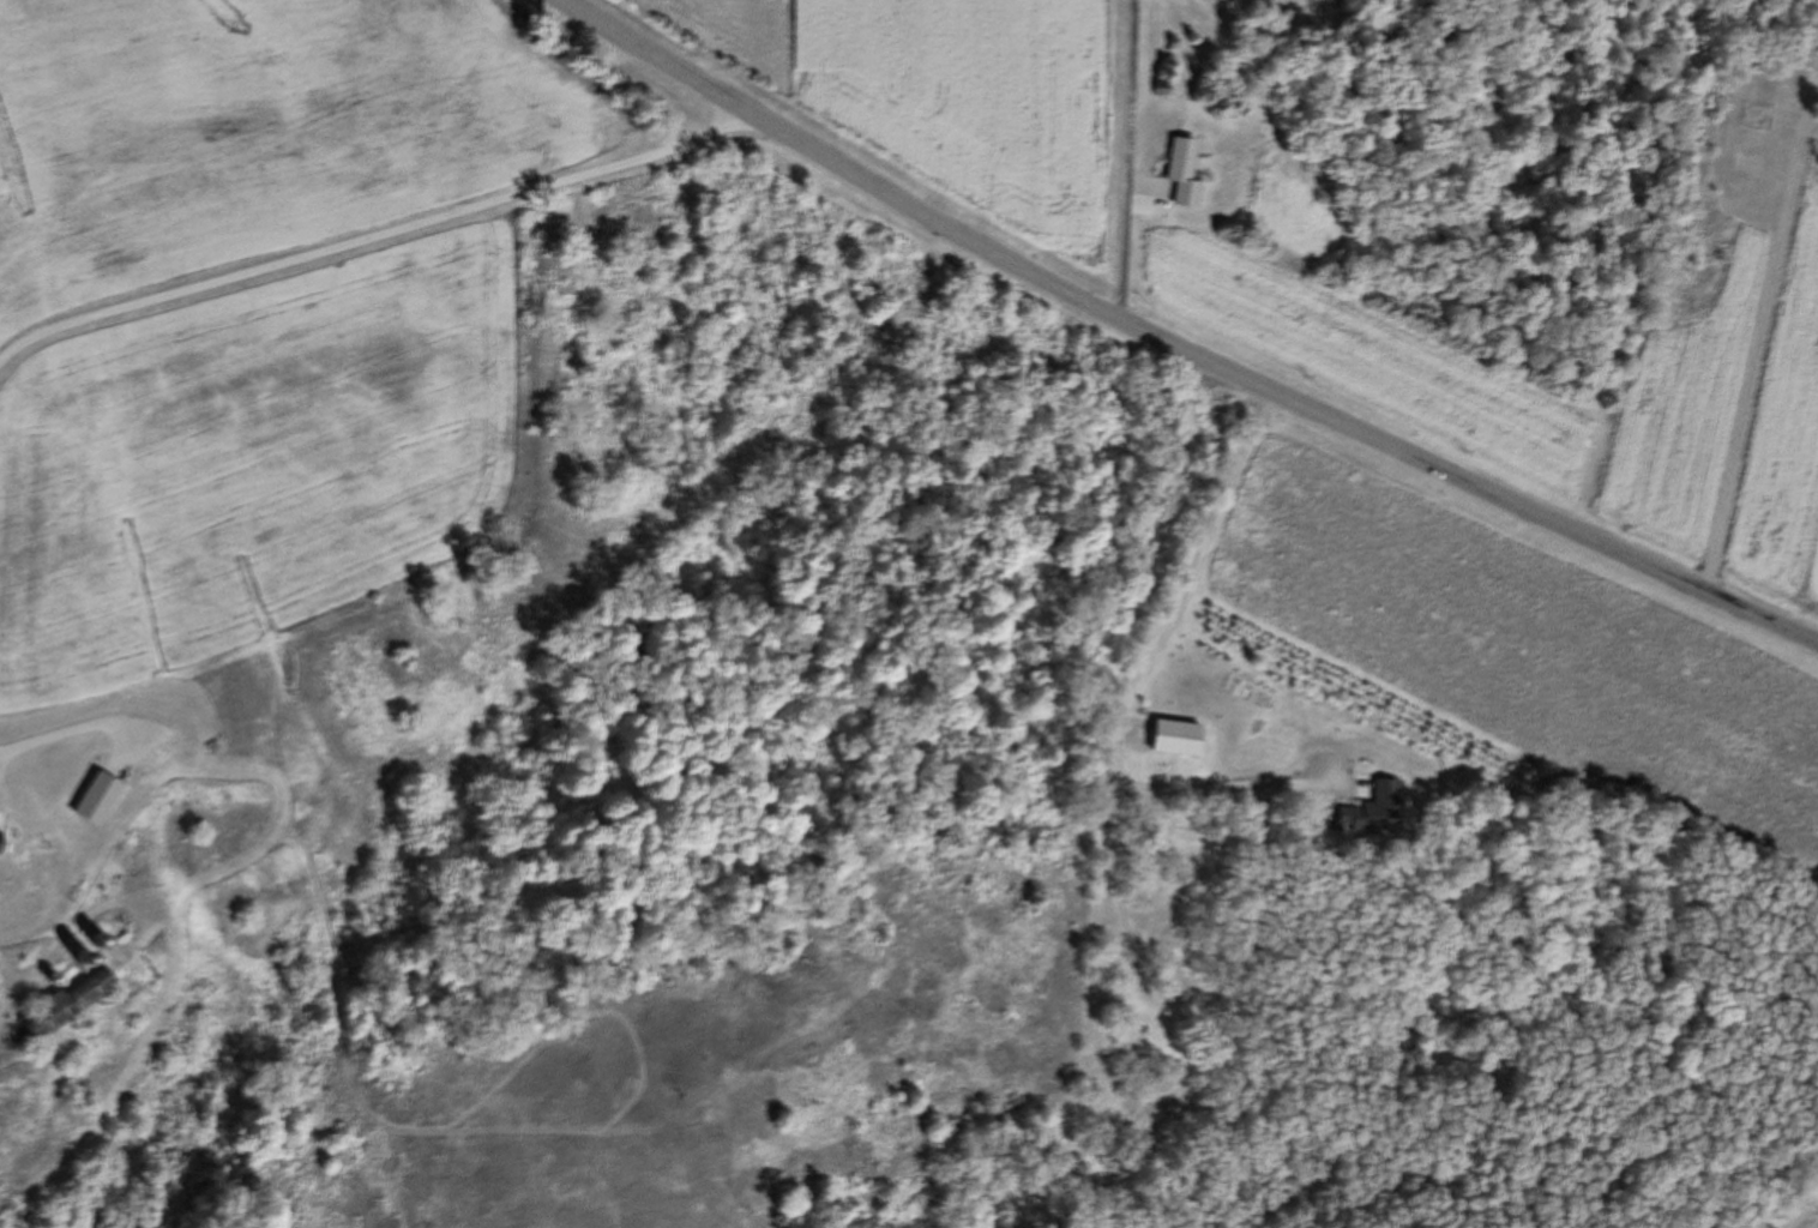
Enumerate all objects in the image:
road: (1095, 152)
road: (377, 275)
road: (1742, 294)
road: (1176, 347)
building: (1169, 739)
building: (60, 1004)

